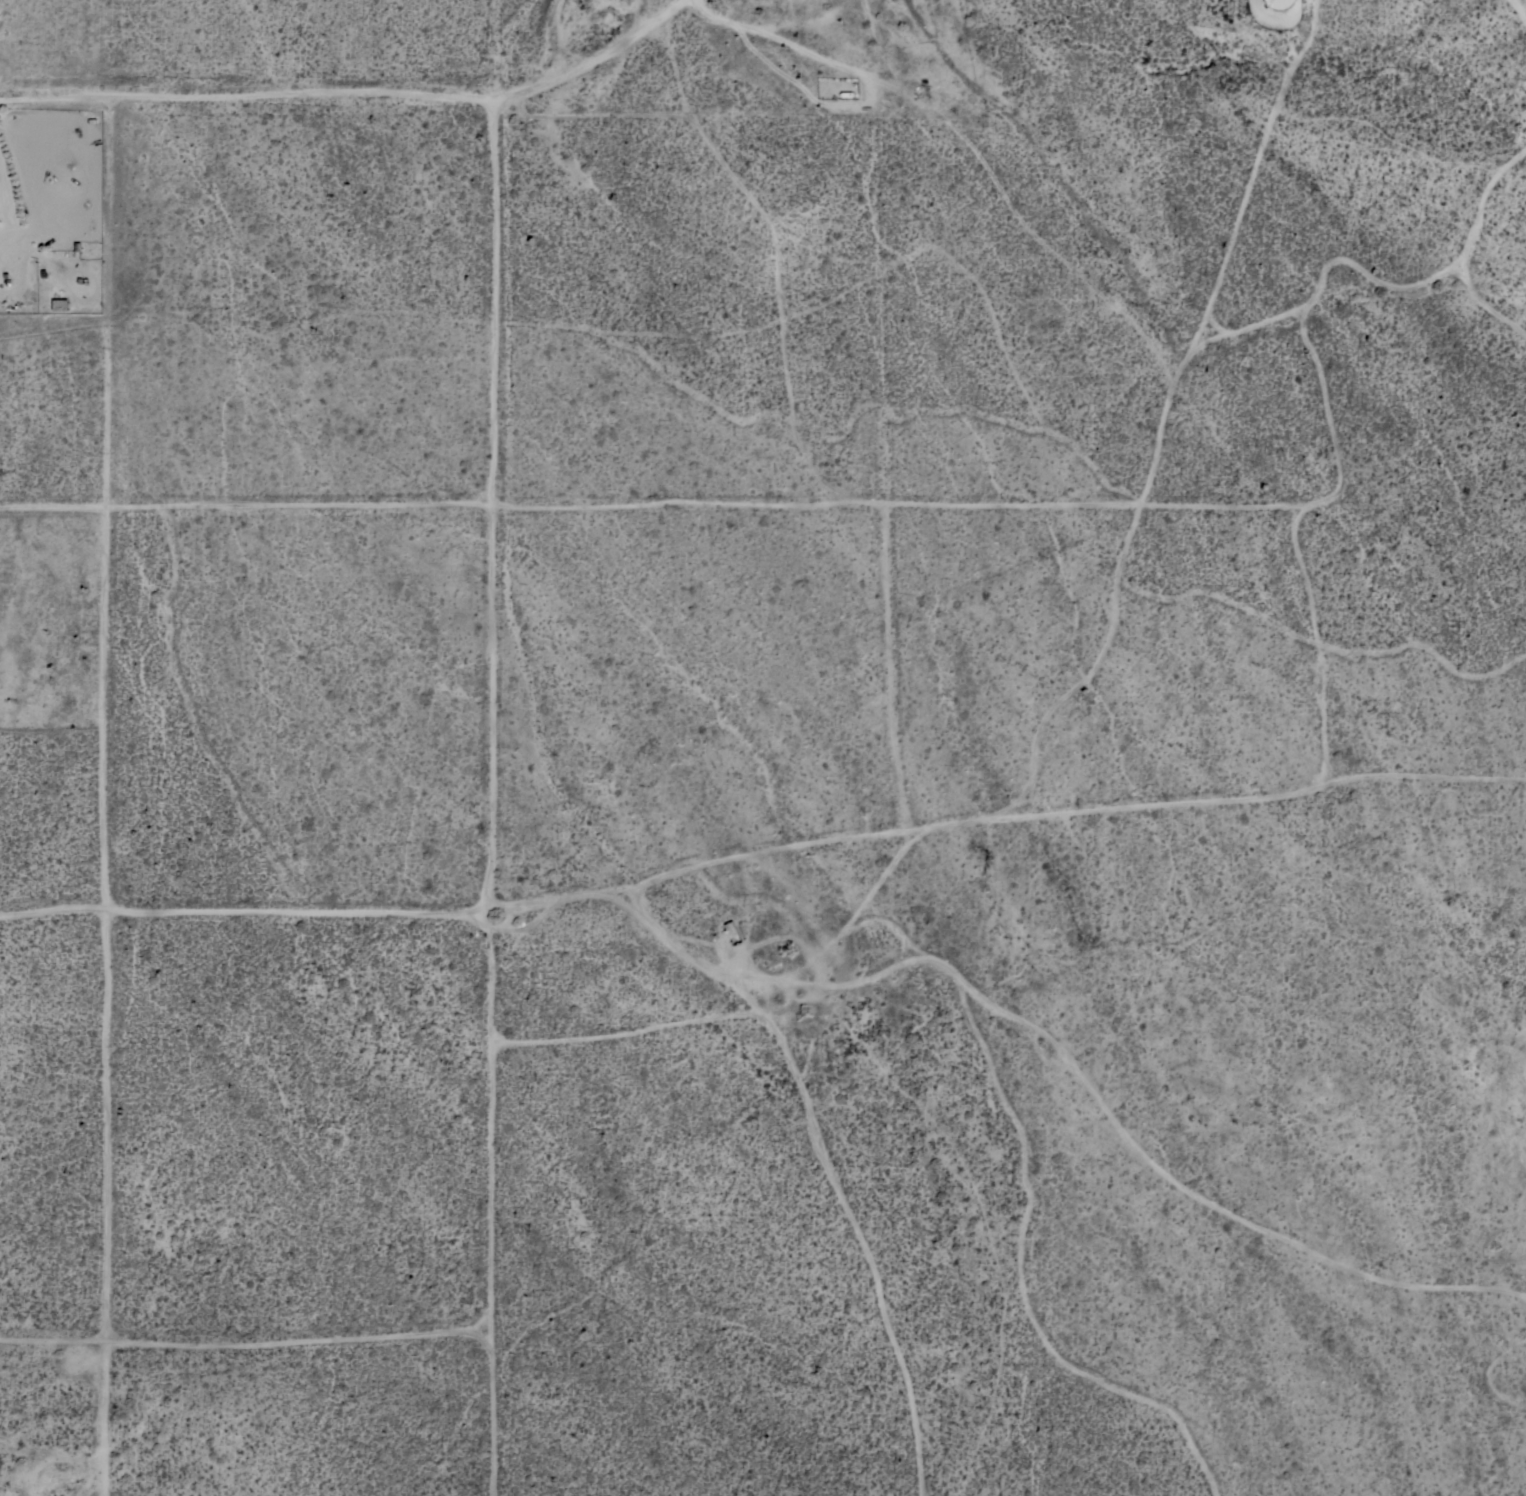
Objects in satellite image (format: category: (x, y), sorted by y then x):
building: (1277, 3)
road: (503, 52)
road: (597, 61)
building: (835, 88)
building: (852, 91)
road: (248, 101)
building: (54, 304)
road: (651, 503)
road: (101, 707)
road: (492, 749)

